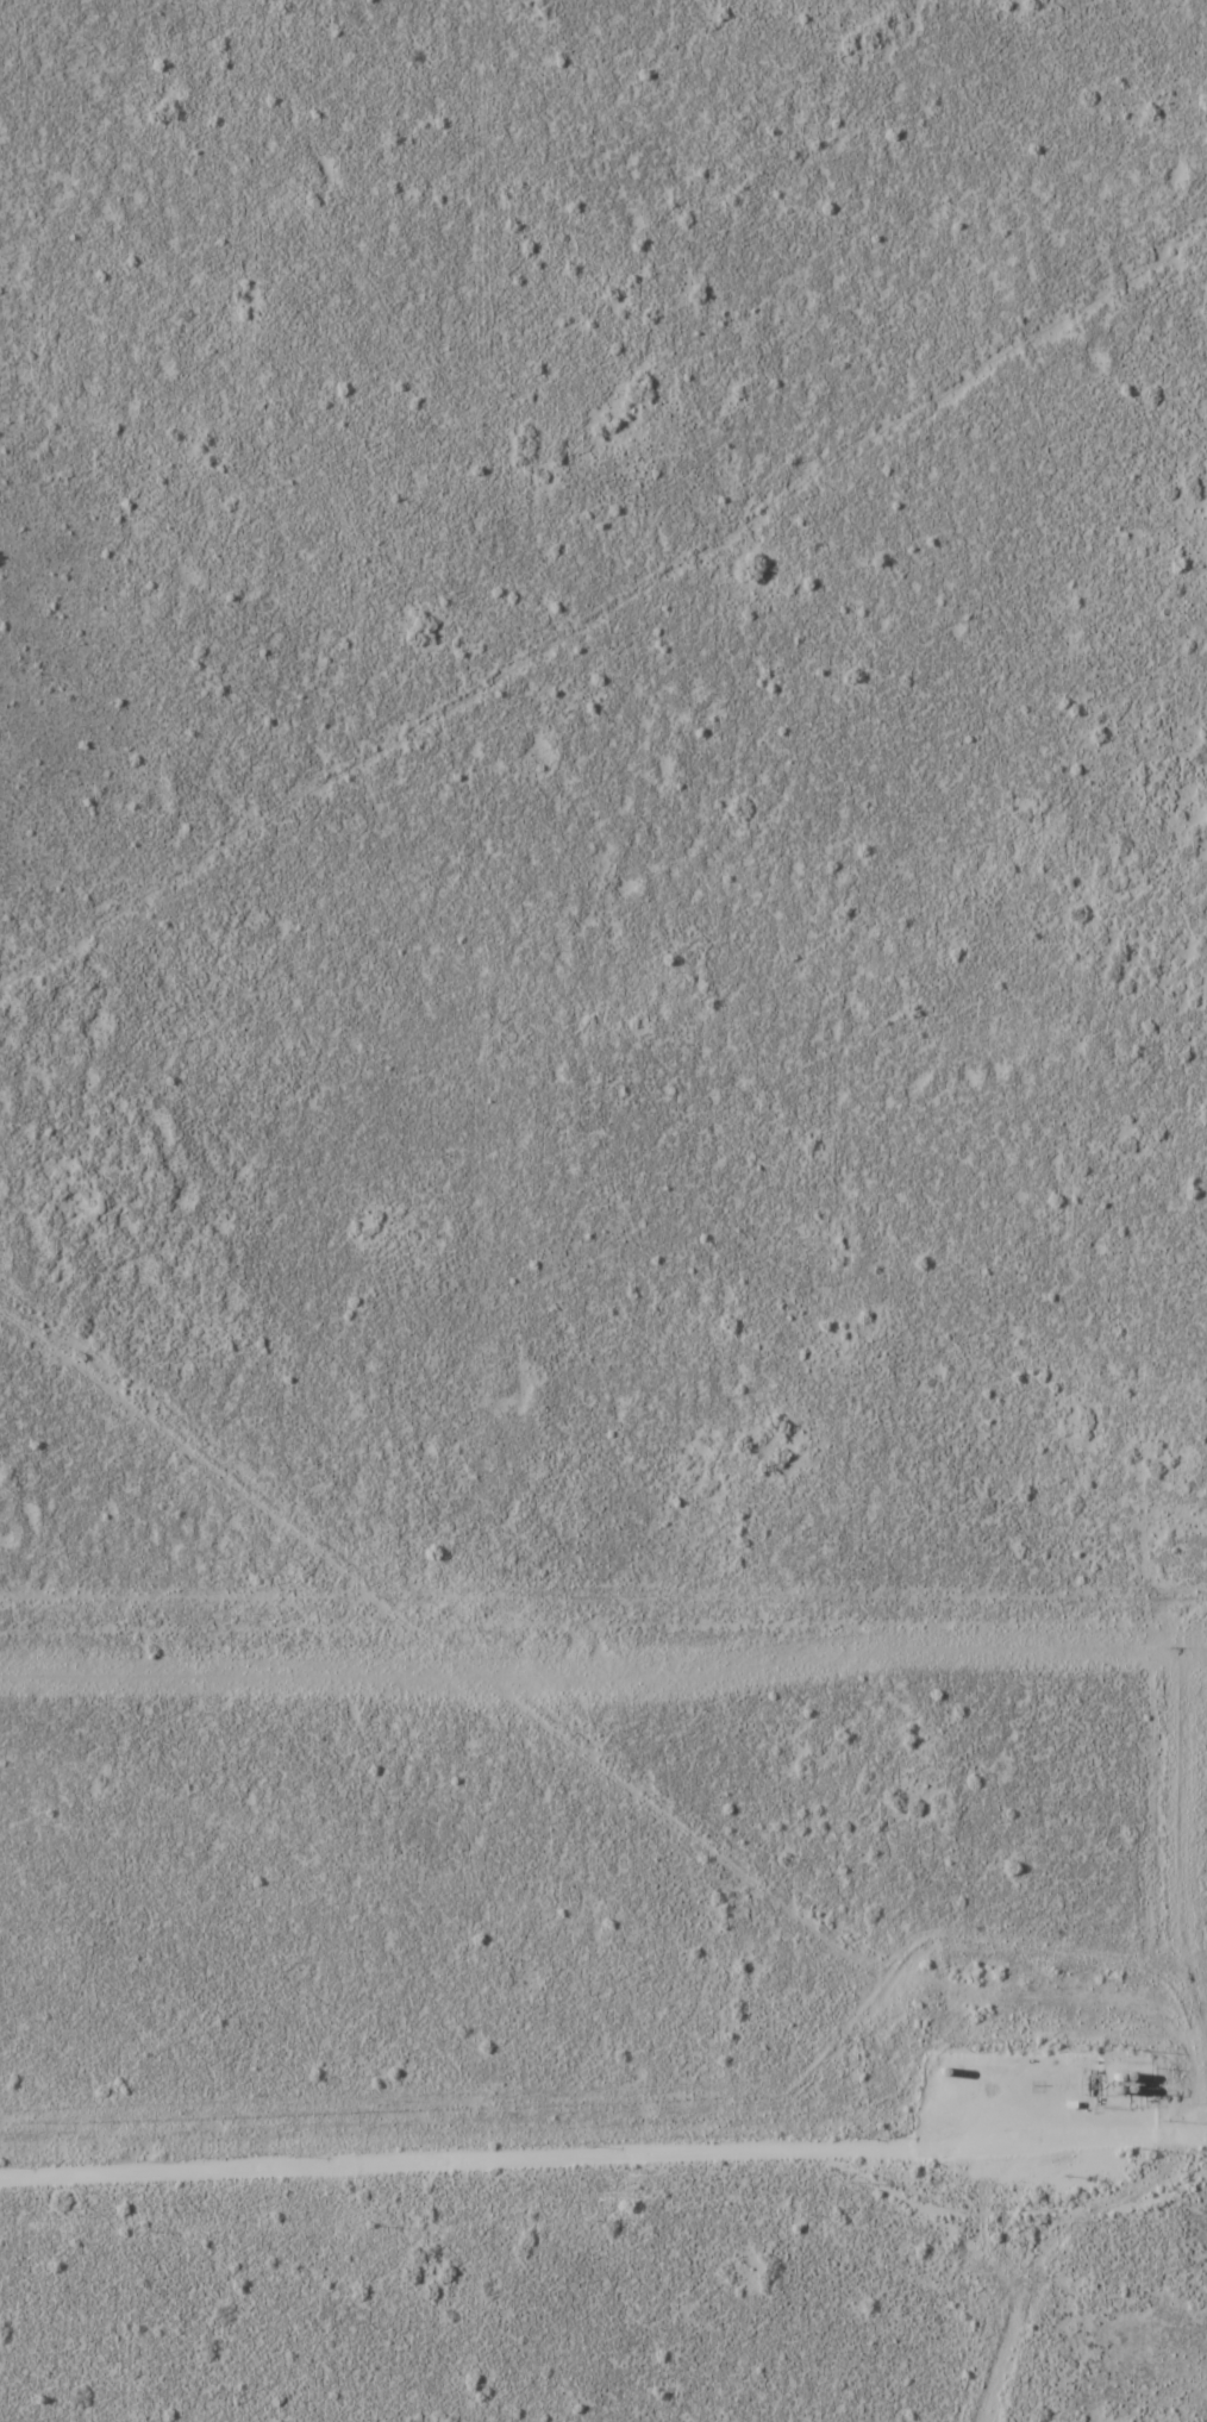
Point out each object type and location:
petroleum well: (1032, 2084)
road: (602, 2151)

